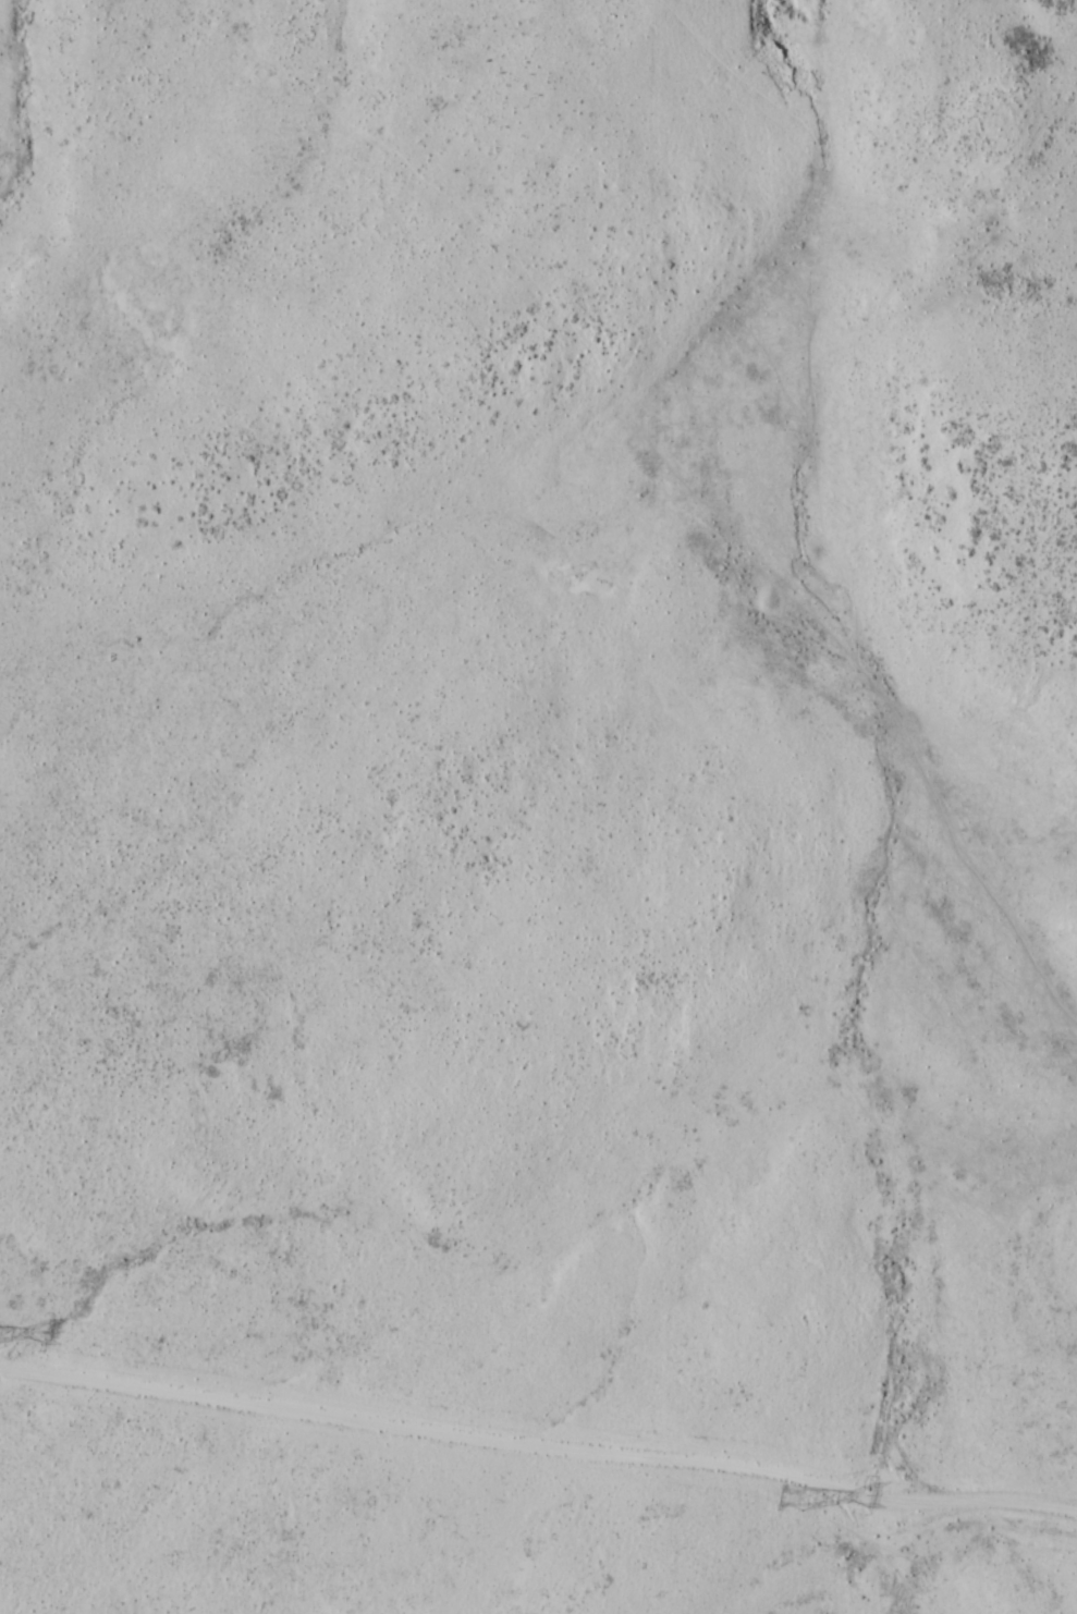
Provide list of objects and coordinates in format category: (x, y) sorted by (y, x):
road: (541, 1403)
power tower: (784, 1480)

